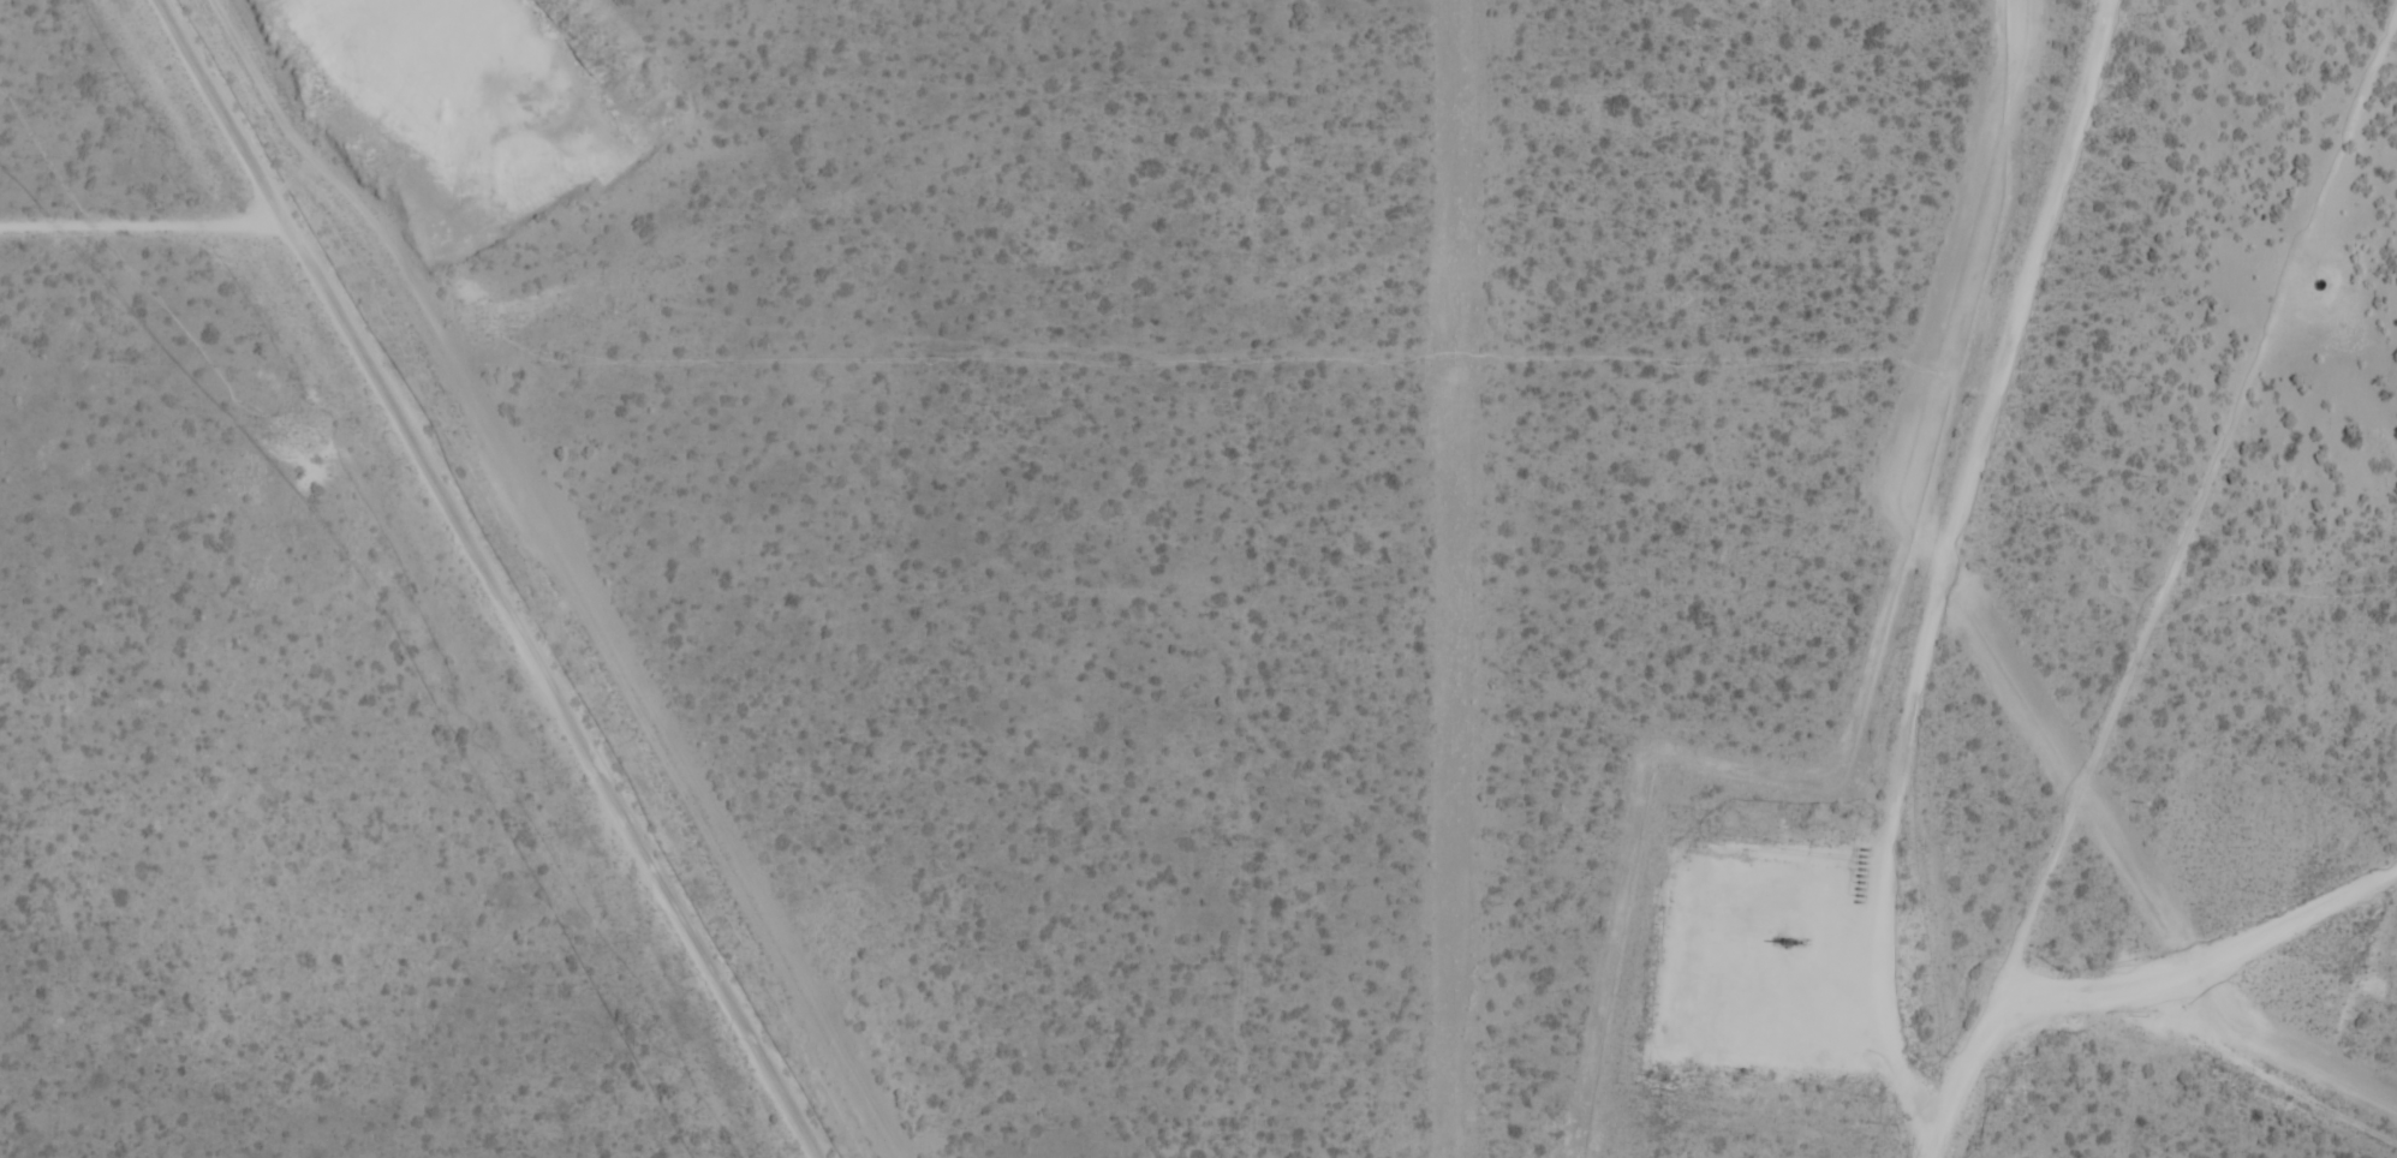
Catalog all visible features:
road: (214, 107)
road: (479, 560)
road: (1951, 572)
road: (2166, 601)
road: (2208, 951)
road: (1759, 969)

